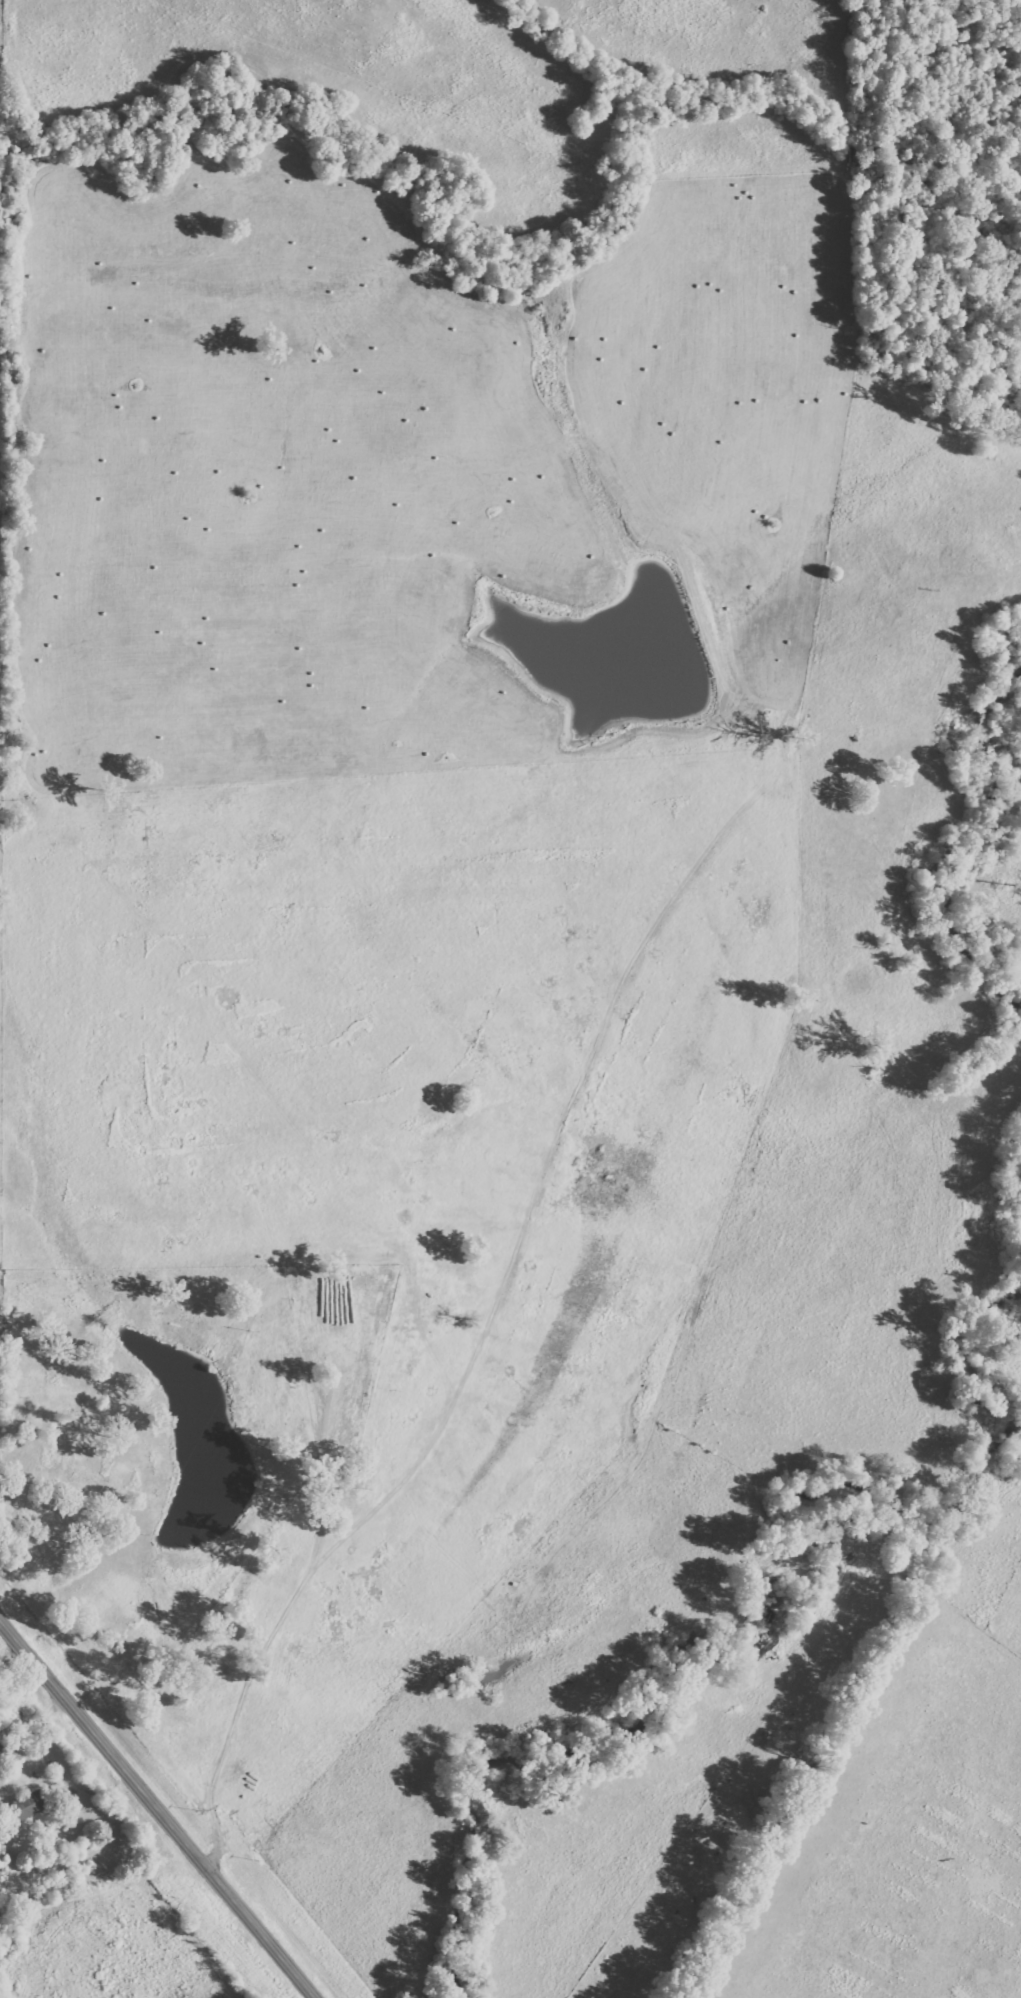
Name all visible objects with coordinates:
building: (24, 1807)
road: (155, 1809)

